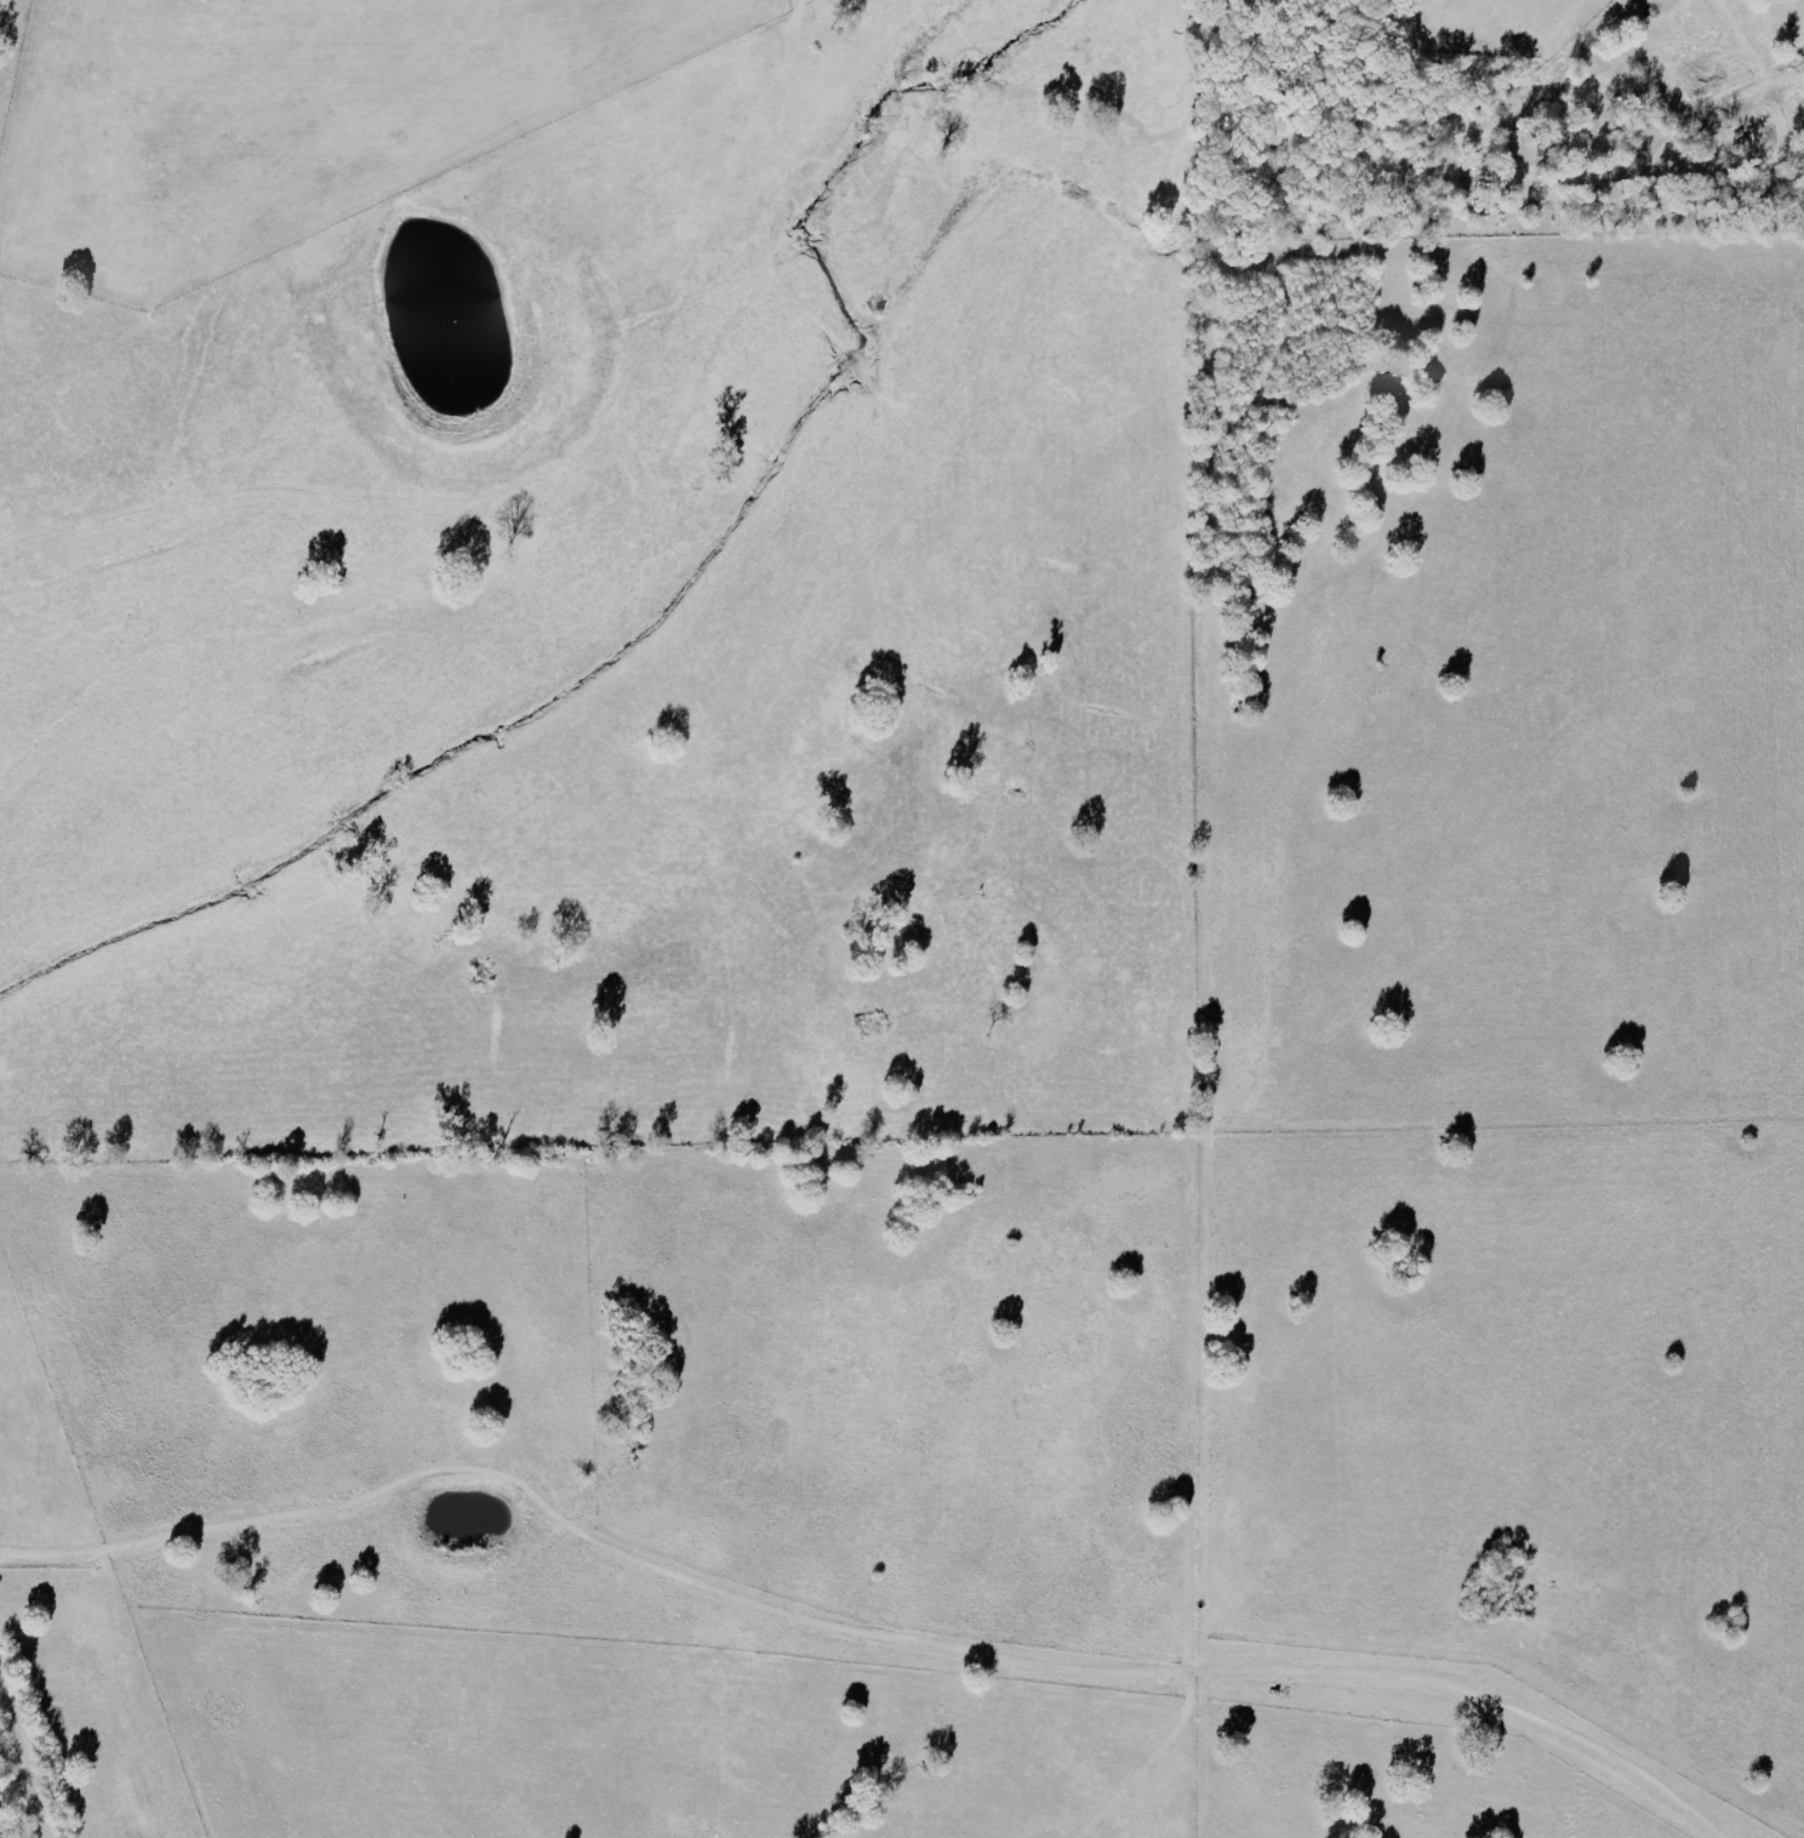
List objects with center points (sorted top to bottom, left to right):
road: (1714, 105)
building: (1526, 148)

